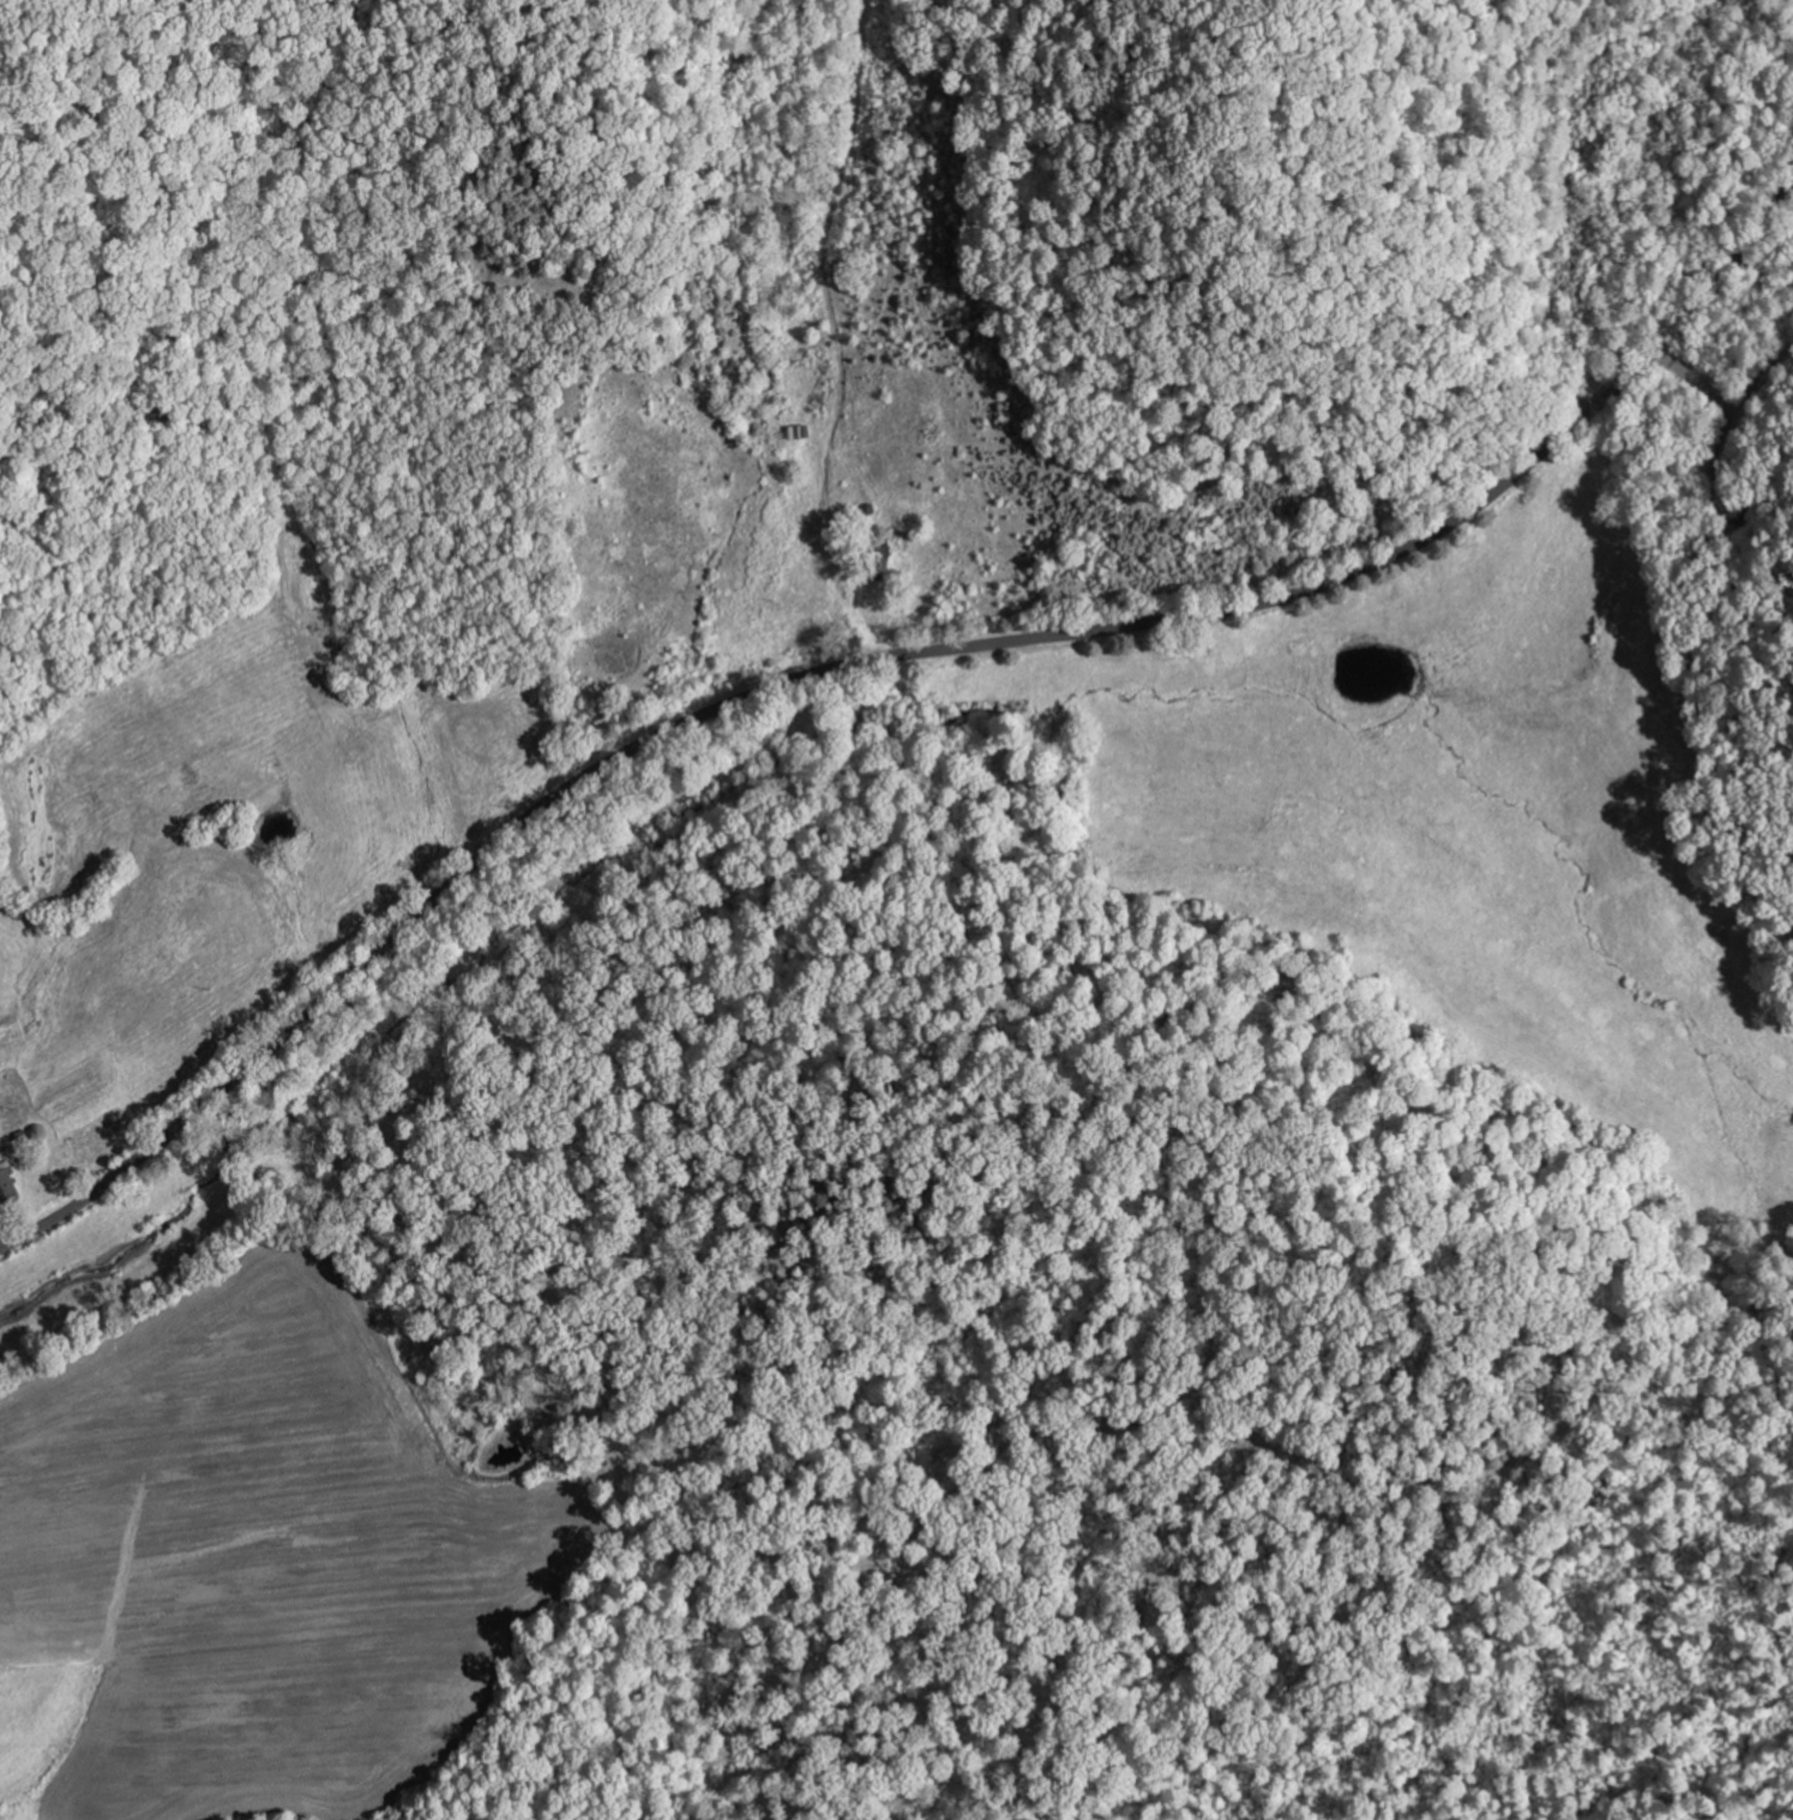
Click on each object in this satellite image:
road: (1697, 307)
road: (730, 707)
building: (6, 1181)

